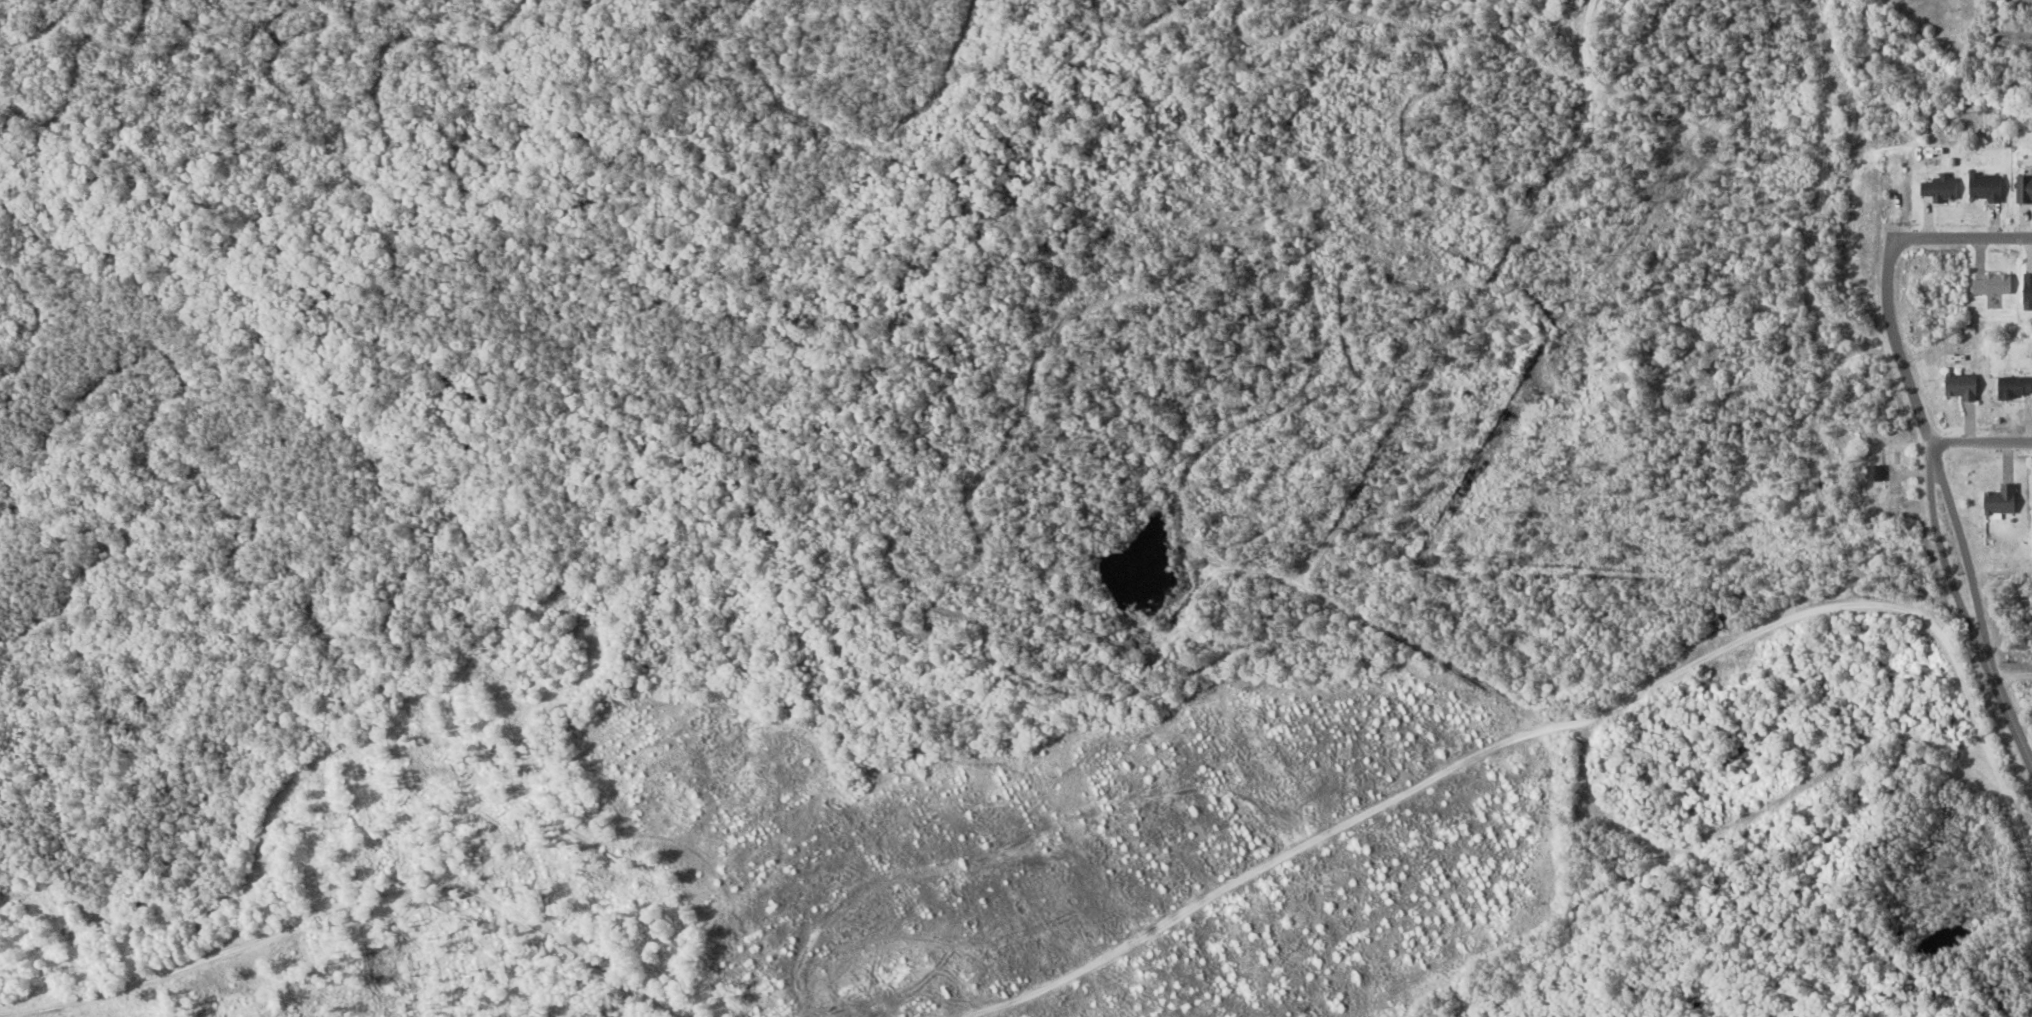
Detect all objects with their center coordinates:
building: (1986, 187)
building: (2024, 188)
building: (1941, 189)
road: (1865, 226)
road: (1952, 245)
building: (2028, 292)
building: (1962, 387)
building: (2015, 389)
road: (1986, 437)
building: (1875, 474)
building: (2002, 502)
road: (1977, 605)

